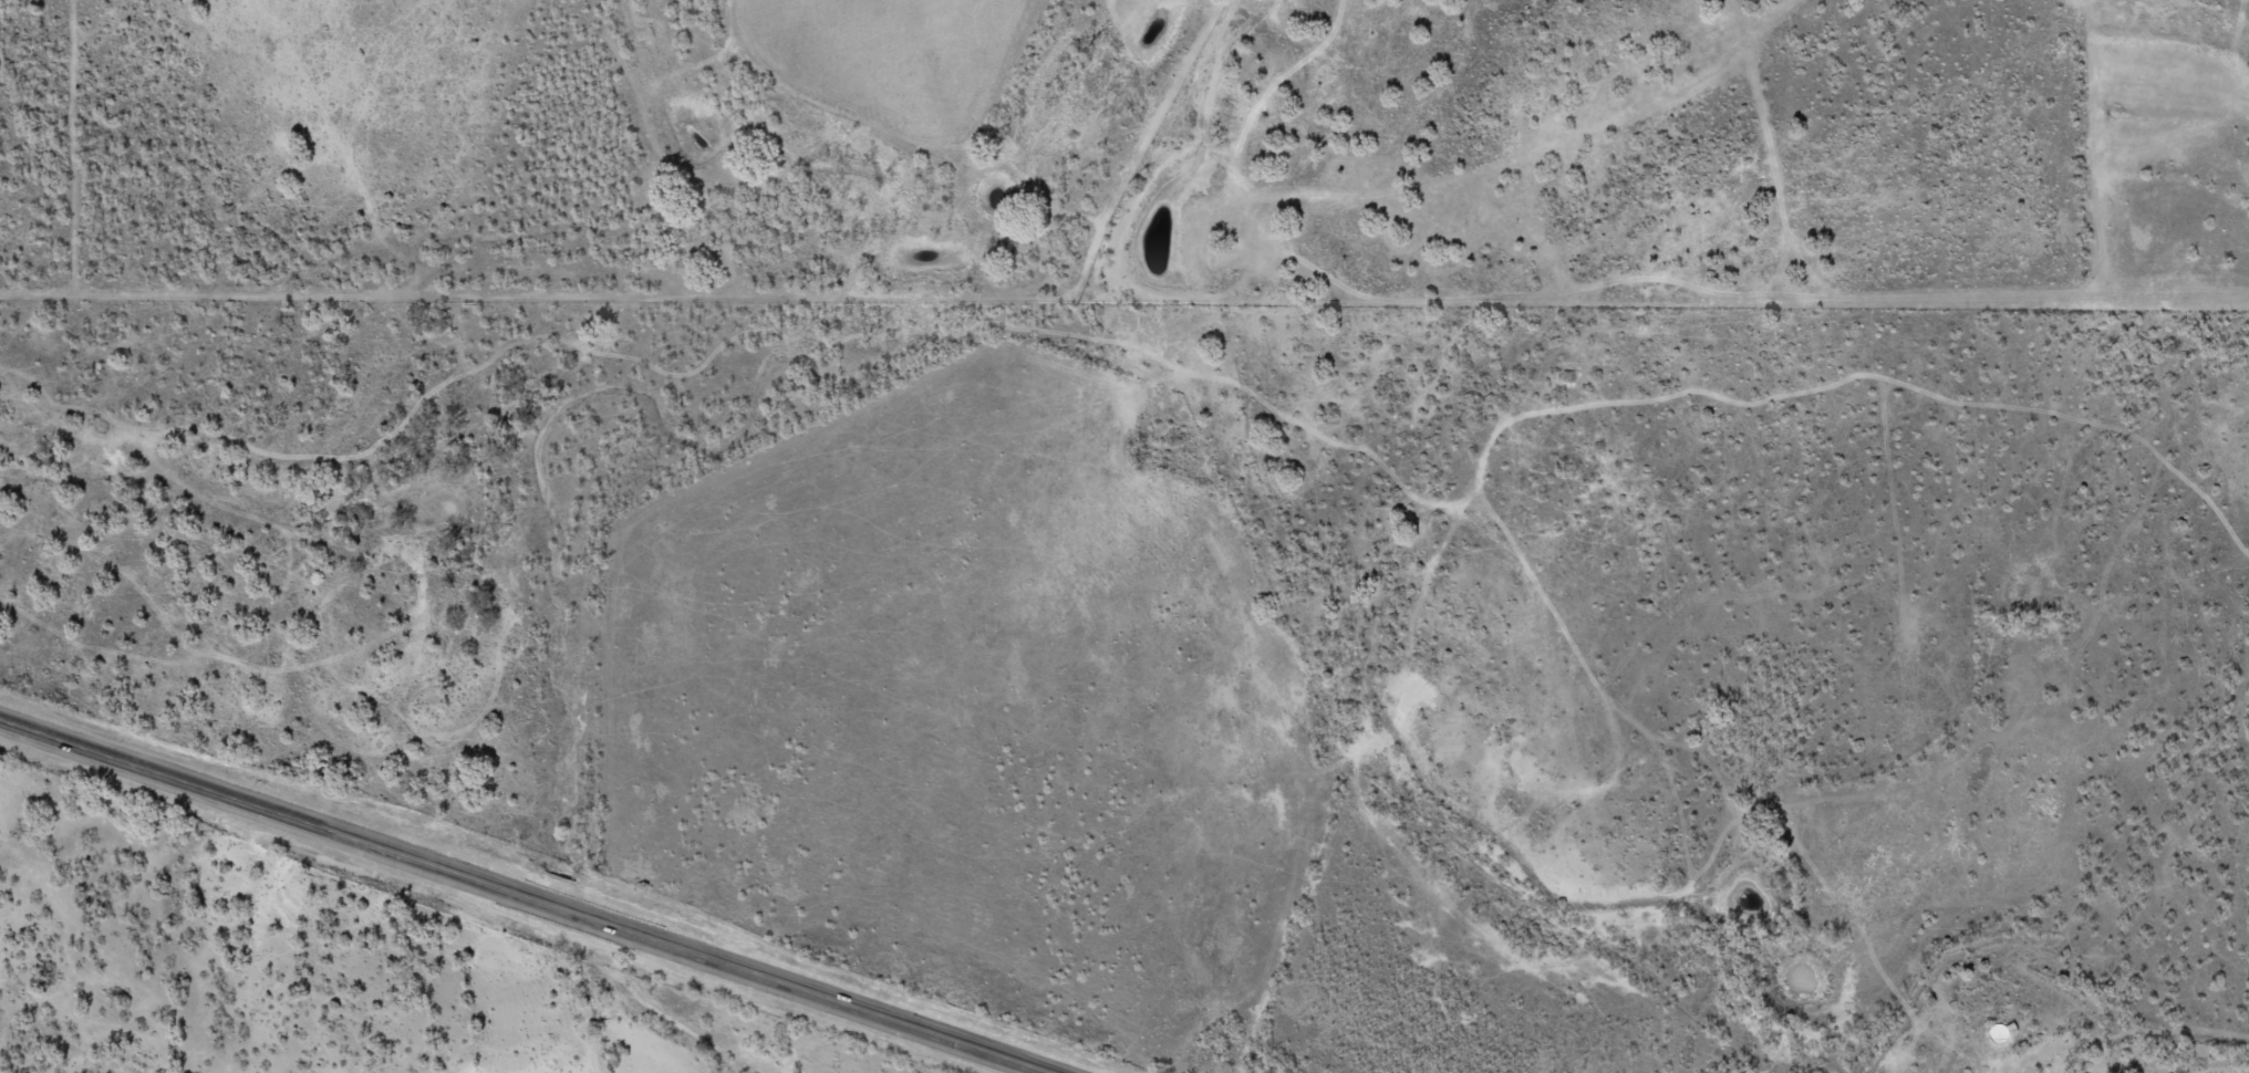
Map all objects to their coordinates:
road: (1553, 146)
road: (519, 899)

